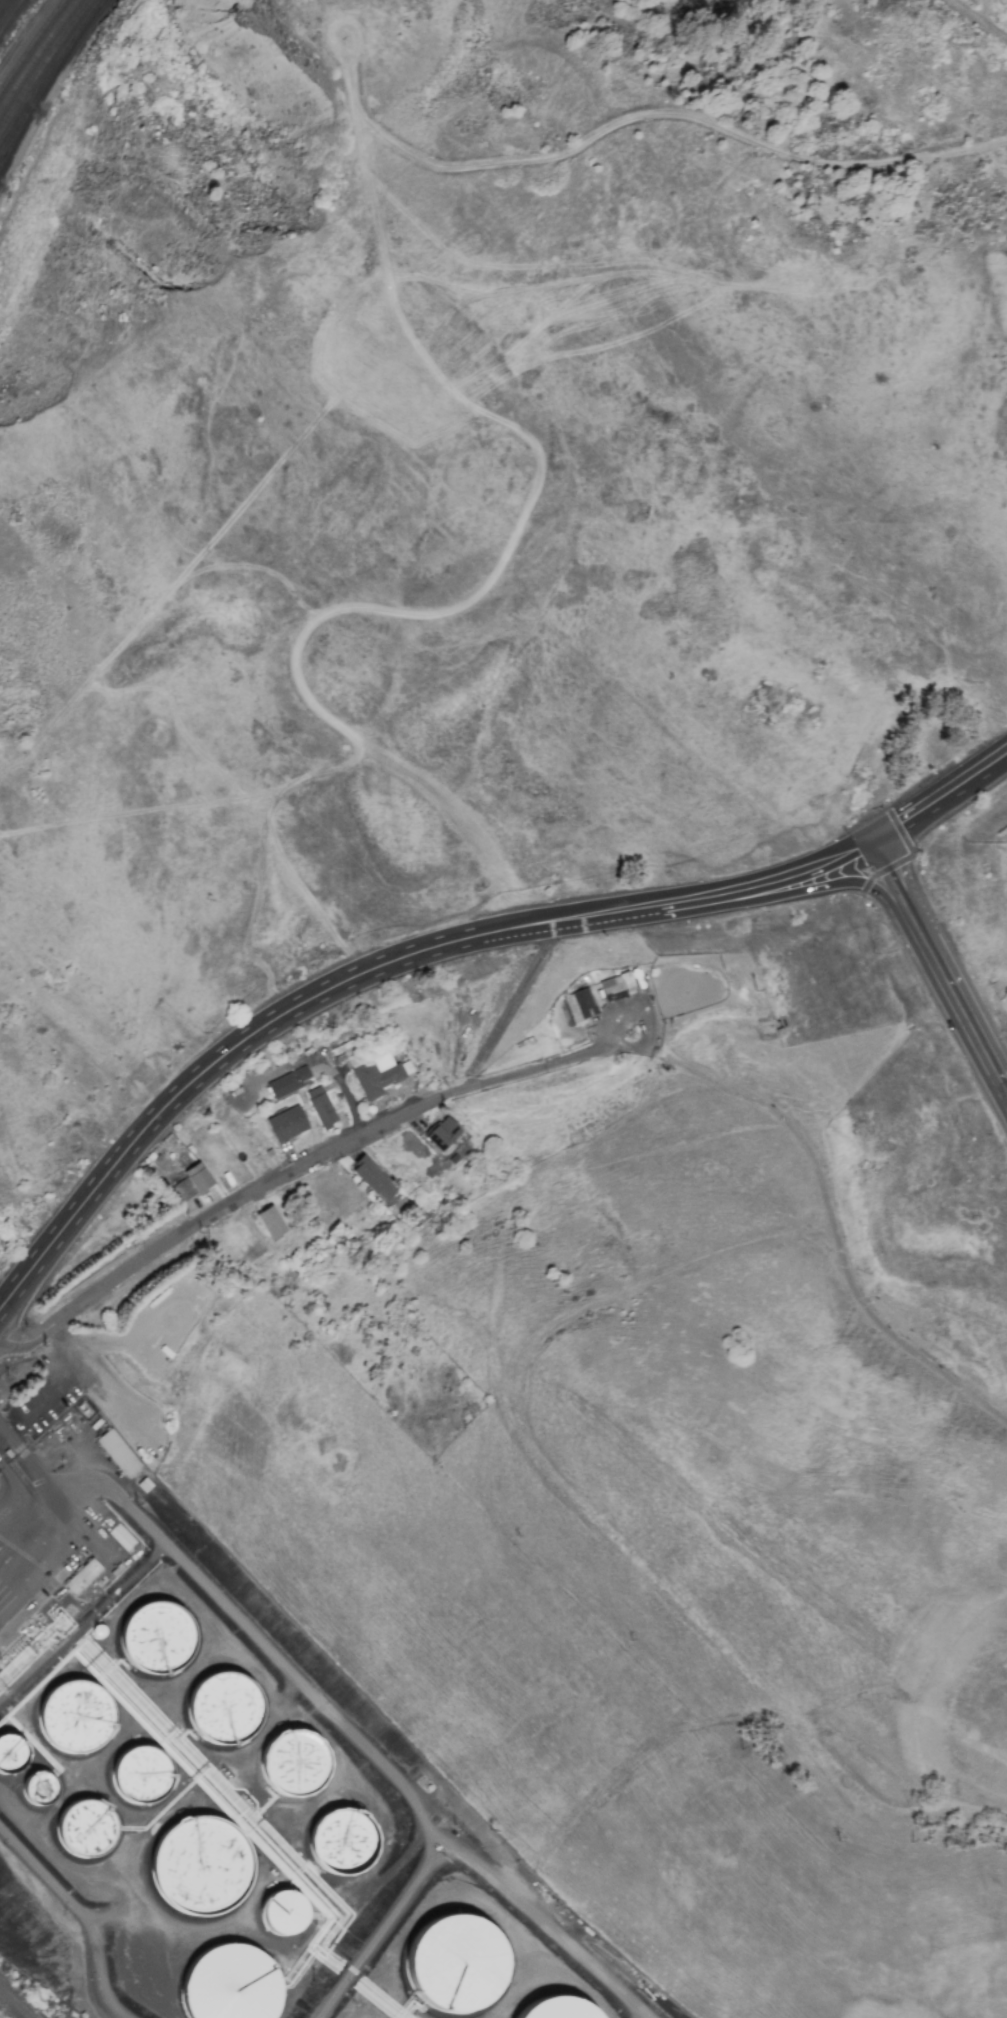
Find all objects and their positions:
road: (991, 13)
road: (976, 18)
railway: (31, 46)
railway: (40, 57)
railway: (43, 65)
railway: (59, 65)
road: (636, 115)
railway: (9, 147)
railway: (9, 152)
road: (939, 795)
traffic signals: (872, 837)
road: (787, 875)
road: (893, 879)
road: (810, 888)
road: (621, 908)
building: (617, 984)
road: (507, 1003)
building: (580, 1005)
road: (960, 1006)
road: (229, 1056)
building: (288, 1082)
road: (1006, 1091)
building: (321, 1107)
building: (287, 1124)
building: (443, 1133)
road: (292, 1173)
building: (373, 1179)
building: (192, 1182)
road: (829, 1204)
building: (271, 1222)
building: (117, 1453)
road: (26, 1474)
building: (123, 1538)
building: (83, 1576)
building: (155, 1639)
storage tank: (155, 1639)
building: (223, 1710)
storage tank: (223, 1710)
road: (328, 1710)
building: (74, 1718)
storage tank: (74, 1718)
building: (11, 1758)
storage tank: (11, 1758)
building: (294, 1766)
storage tank: (294, 1766)
building: (139, 1778)
storage tank: (139, 1778)
building: (37, 1791)
storage tank: (37, 1791)
building: (83, 1831)
storage tank: (83, 1831)
building: (343, 1845)
storage tank: (343, 1845)
building: (215, 1868)
storage tank: (215, 1868)
road: (79, 1910)
building: (283, 1917)
storage tank: (283, 1917)
road: (382, 1930)
building: (456, 1967)
storage tank: (456, 1967)
building: (245, 1986)
storage tank: (245, 1986)
road: (12, 2005)
building: (557, 2011)
storage tank: (557, 2011)

